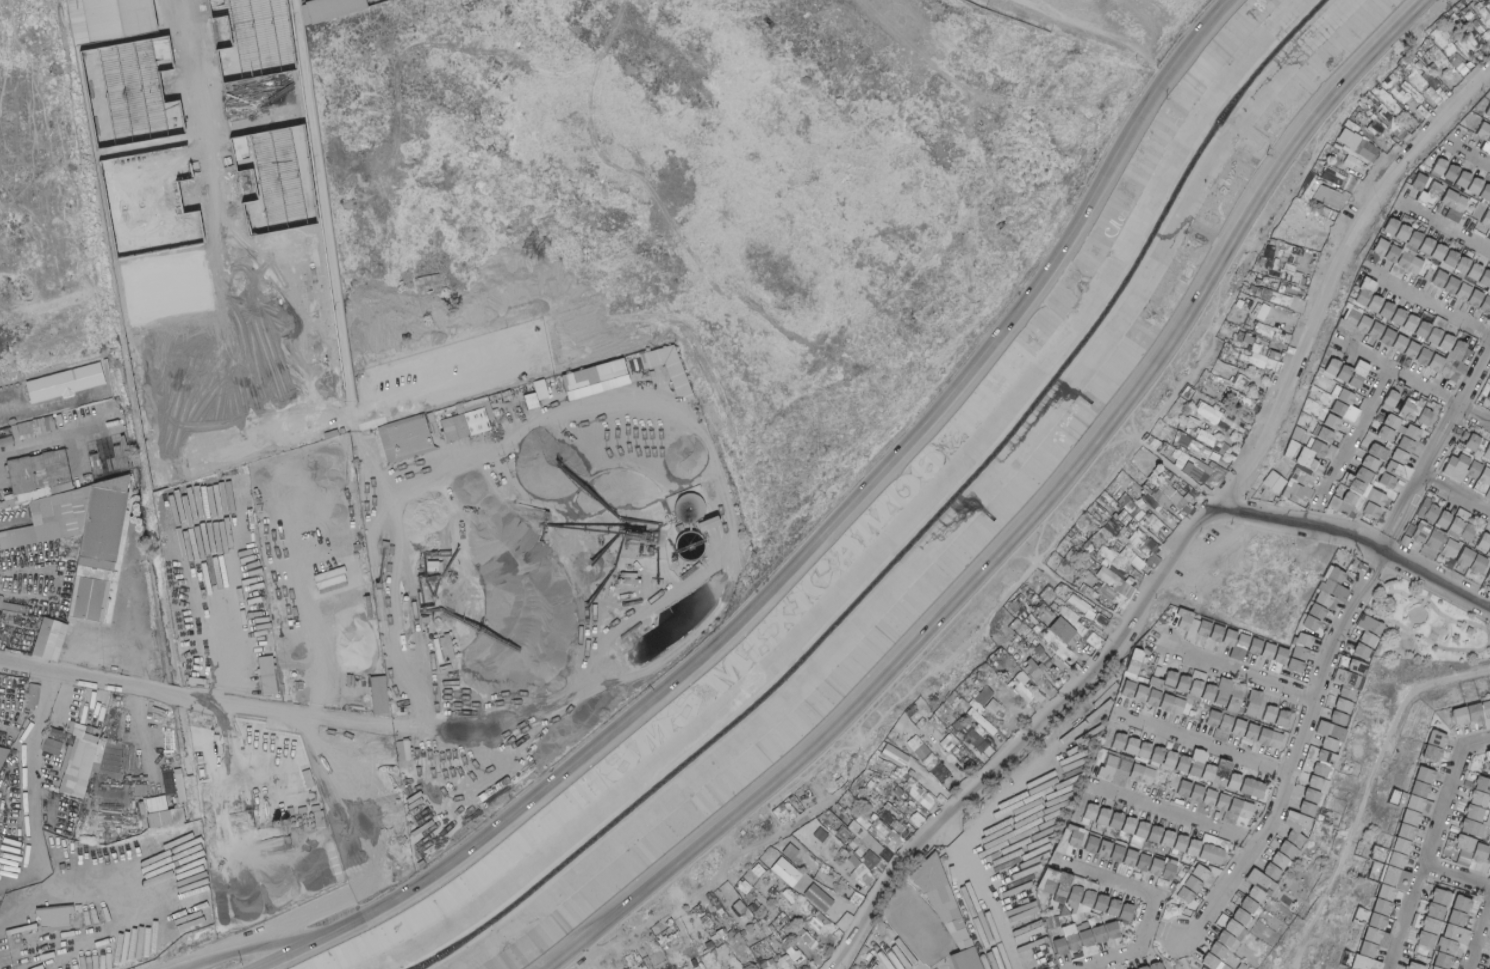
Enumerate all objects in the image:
parking lot: (220, 425)
quarry: (534, 570)
park: (1428, 623)

